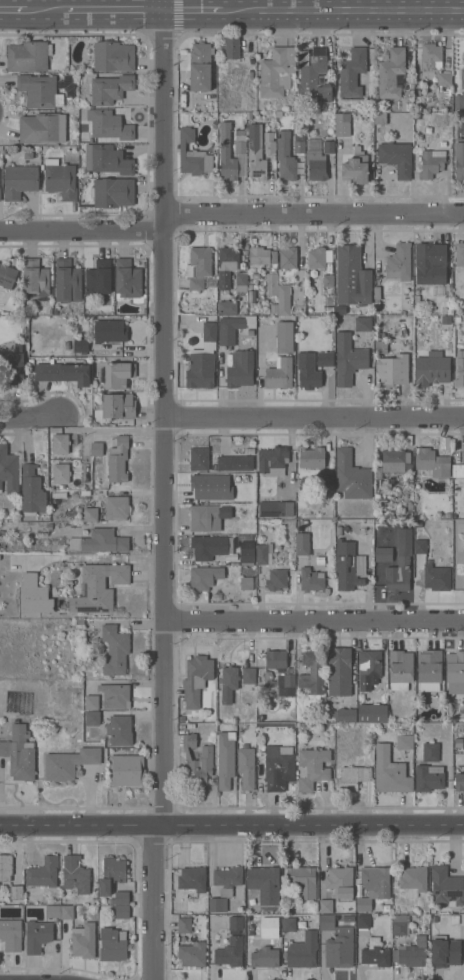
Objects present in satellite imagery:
road: (260, 6)
road: (303, 6)
road: (13, 11)
road: (114, 11)
road: (194, 11)
road: (45, 12)
road: (344, 12)
building: (232, 48)
building: (431, 55)
building: (28, 56)
building: (113, 56)
building: (198, 65)
building: (84, 69)
building: (277, 72)
building: (392, 74)
building: (313, 76)
building: (354, 77)
building: (444, 78)
building: (462, 78)
building: (66, 86)
building: (109, 89)
building: (40, 90)
building: (459, 101)
building: (291, 107)
building: (380, 118)
building: (109, 125)
building: (341, 126)
building: (43, 128)
building: (187, 135)
building: (240, 141)
building: (298, 143)
building: (328, 145)
building: (269, 147)
building: (256, 154)
building: (285, 157)
building: (315, 157)
building: (396, 158)
building: (107, 159)
building: (227, 159)
building: (459, 159)
building: (195, 161)
building: (432, 163)
building: (355, 169)
building: (60, 179)
building: (19, 181)
building: (112, 192)
building: (0, 194)
road: (315, 213)
road: (83, 232)
building: (459, 253)
building: (261, 257)
building: (288, 258)
building: (316, 258)
building: (399, 262)
building: (430, 263)
building: (199, 267)
building: (232, 268)
building: (7, 275)
building: (256, 276)
building: (352, 276)
building: (98, 278)
building: (128, 278)
building: (36, 279)
building: (328, 280)
building: (67, 281)
building: (272, 284)
building: (377, 293)
building: (284, 299)
building: (377, 304)
building: (251, 306)
building: (227, 307)
building: (275, 308)
building: (340, 309)
building: (71, 310)
building: (329, 310)
building: (457, 318)
building: (446, 320)
building: (363, 323)
building: (233, 329)
building: (110, 331)
building: (330, 334)
building: (380, 335)
building: (285, 337)
building: (14, 344)
building: (67, 345)
building: (80, 345)
building: (328, 345)
building: (381, 347)
building: (325, 359)
building: (348, 359)
building: (203, 360)
building: (12, 367)
building: (432, 368)
building: (460, 368)
building: (241, 369)
building: (392, 370)
building: (62, 373)
building: (118, 374)
building: (280, 375)
building: (310, 379)
building: (119, 405)
road: (167, 412)
road: (316, 418)
road: (29, 419)
building: (105, 423)
building: (60, 444)
building: (97, 449)
building: (250, 451)
building: (199, 458)
building: (311, 458)
building: (118, 459)
building: (394, 460)
building: (433, 460)
building: (273, 461)
building: (235, 463)
building: (458, 464)
building: (9, 471)
building: (61, 473)
building: (351, 475)
building: (329, 480)
building: (211, 487)
building: (32, 492)
building: (116, 508)
building: (276, 509)
building: (90, 514)
building: (408, 514)
building: (447, 515)
building: (205, 518)
building: (302, 536)
building: (100, 541)
building: (215, 545)
building: (2, 546)
building: (420, 546)
building: (247, 552)
building: (264, 553)
building: (320, 560)
building: (346, 565)
building: (383, 566)
building: (204, 577)
building: (436, 577)
building: (276, 579)
building: (312, 580)
building: (246, 583)
building: (98, 587)
building: (34, 595)
building: (78, 620)
road: (315, 621)
building: (115, 650)
building: (368, 668)
building: (312, 670)
building: (400, 670)
building: (429, 670)
building: (339, 671)
building: (455, 671)
building: (281, 673)
building: (267, 676)
building: (228, 677)
building: (196, 679)
building: (248, 679)
building: (115, 695)
building: (322, 700)
building: (92, 702)
building: (330, 703)
building: (249, 705)
building: (372, 713)
building: (345, 715)
building: (93, 718)
building: (181, 718)
building: (261, 718)
building: (275, 725)
building: (119, 731)
building: (458, 741)
building: (405, 742)
building: (431, 752)
building: (18, 754)
building: (225, 759)
building: (71, 762)
building: (197, 762)
building: (246, 766)
building: (278, 766)
building: (312, 768)
building: (126, 770)
building: (390, 772)
building: (352, 778)
building: (428, 778)
building: (459, 782)
road: (231, 824)
building: (5, 866)
building: (44, 872)
building: (111, 874)
building: (75, 875)
building: (192, 879)
building: (227, 880)
building: (303, 880)
building: (413, 881)
building: (264, 884)
building: (373, 885)
building: (446, 886)
building: (338, 887)
building: (16, 891)
building: (120, 897)
road: (154, 902)
building: (218, 904)
building: (52, 911)
building: (67, 912)
building: (121, 912)
building: (267, 918)
building: (349, 918)
building: (434, 918)
building: (455, 919)
building: (363, 921)
building: (327, 922)
building: (289, 924)
building: (184, 925)
building: (401, 925)
building: (57, 926)
building: (11, 934)
building: (37, 936)
building: (84, 940)
building: (113, 944)
building: (231, 944)
building: (340, 948)
building: (444, 952)
building: (375, 953)
building: (412, 953)
building: (192, 954)
building: (266, 954)
building: (301, 954)

